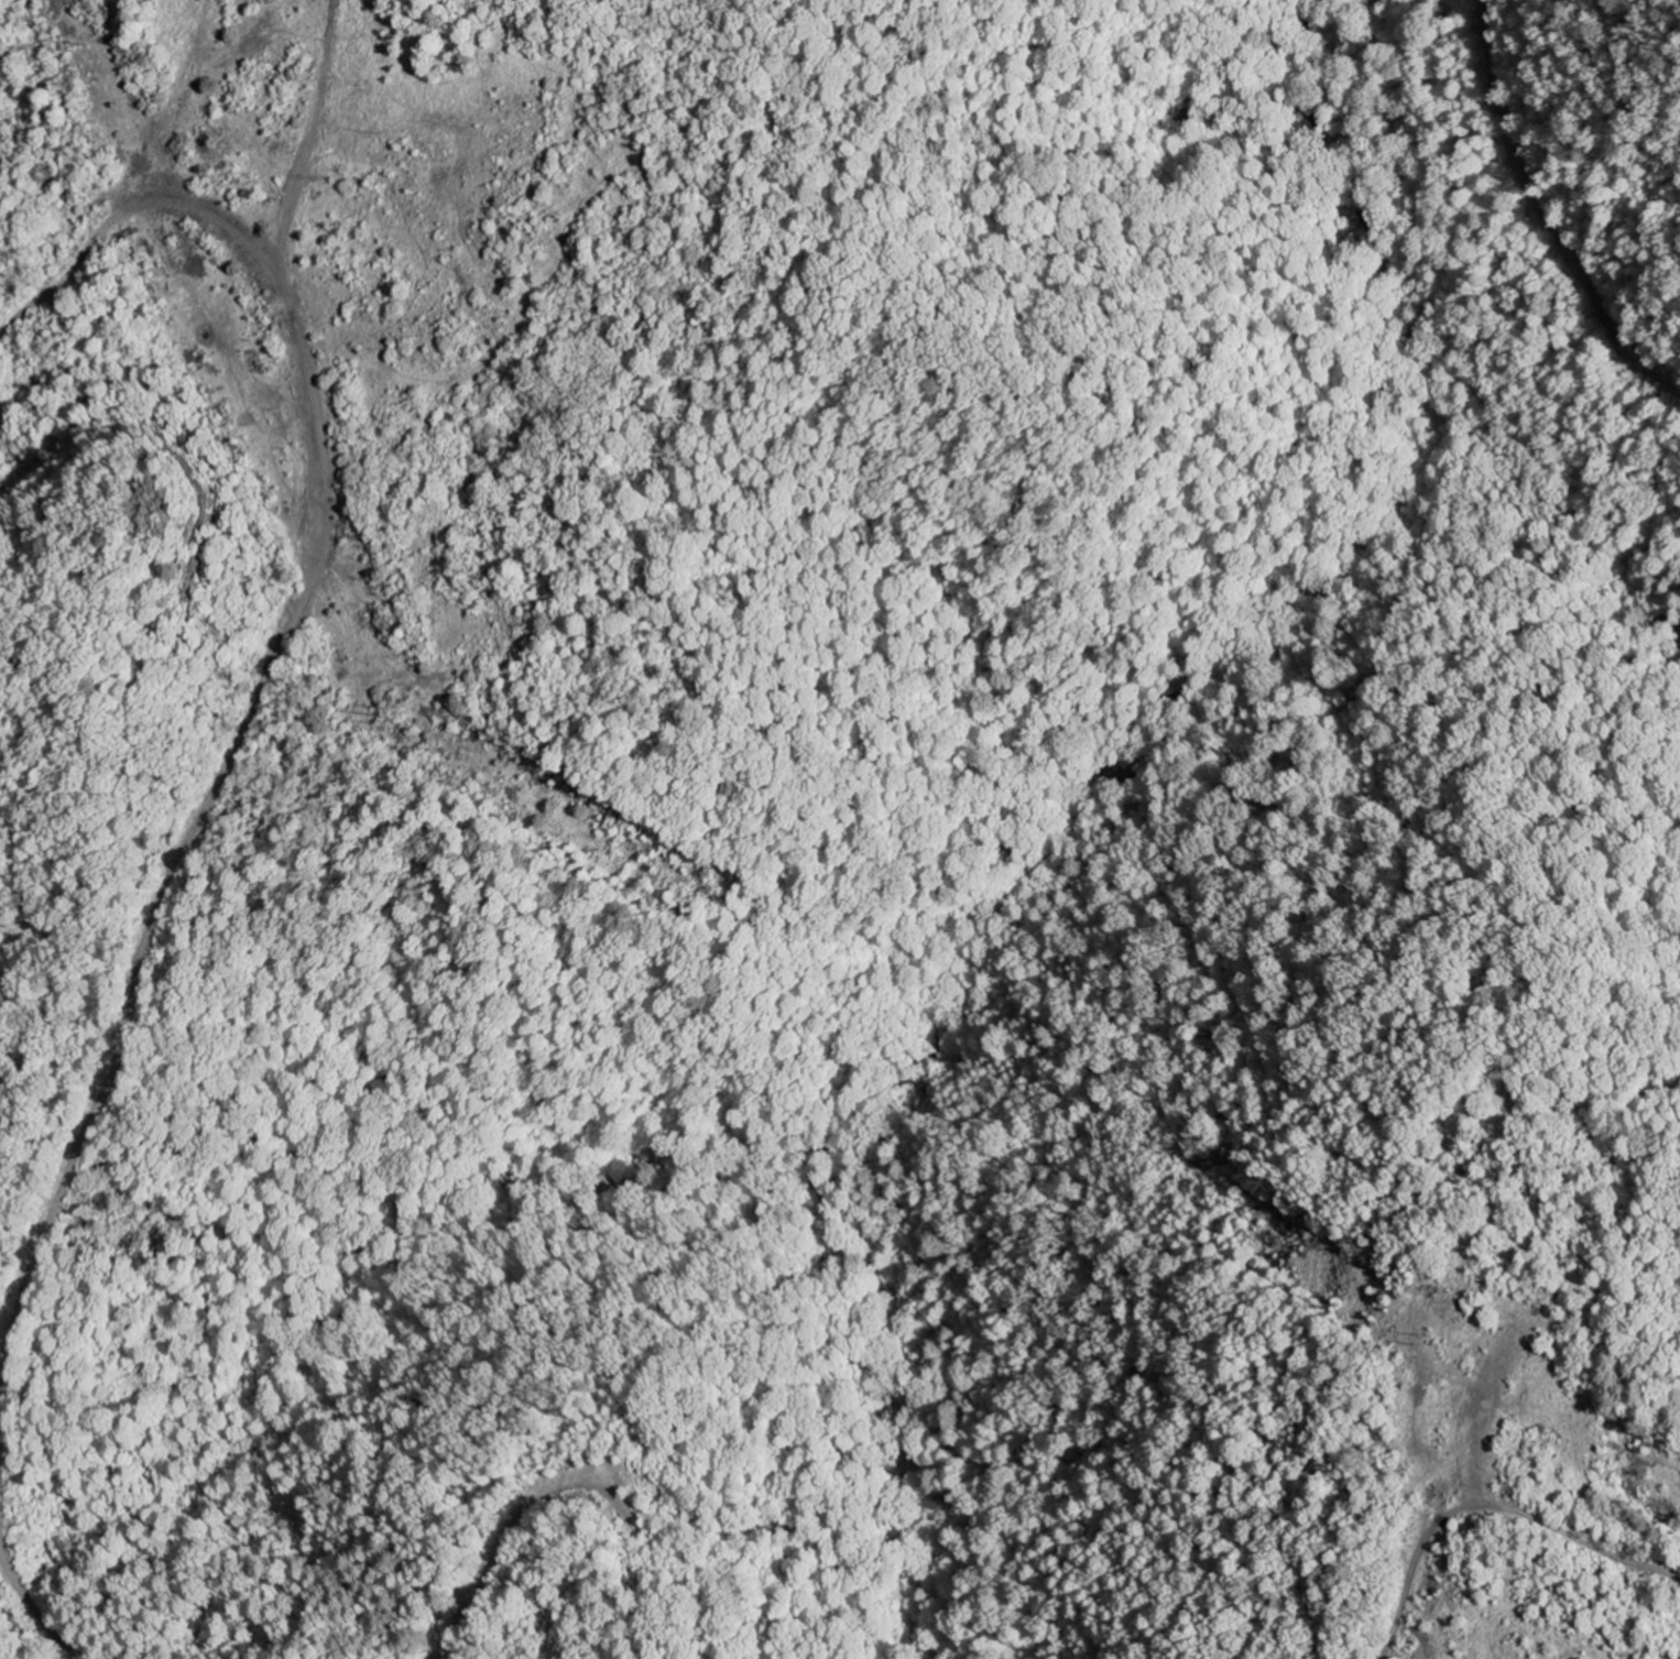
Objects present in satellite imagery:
road: (174, 432)

